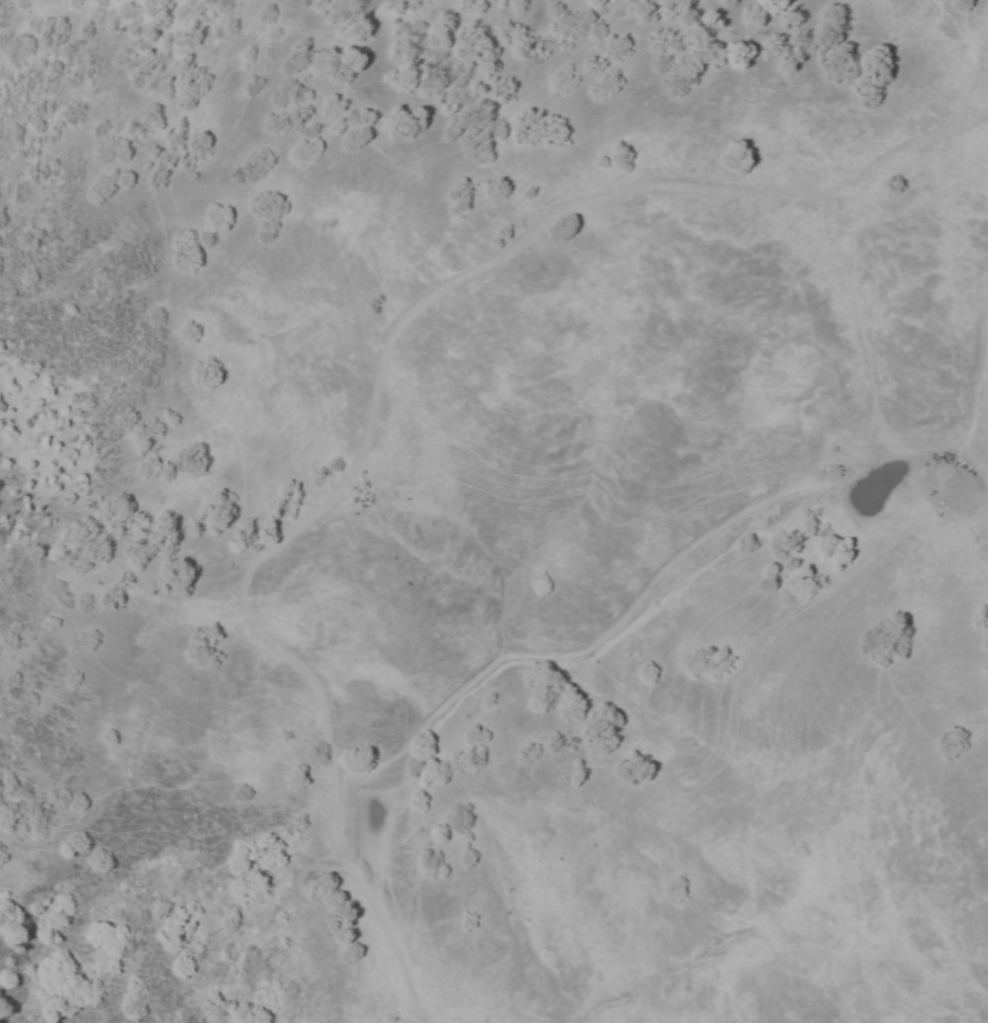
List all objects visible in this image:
road: (484, 264)
road: (343, 853)

